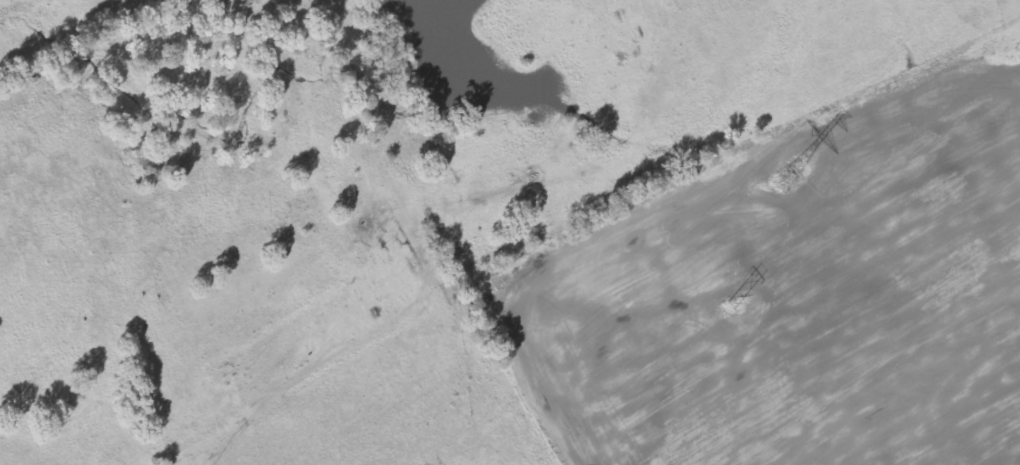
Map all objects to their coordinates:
power tower: (1015, 50)
power tower: (787, 180)
power tower: (728, 306)

